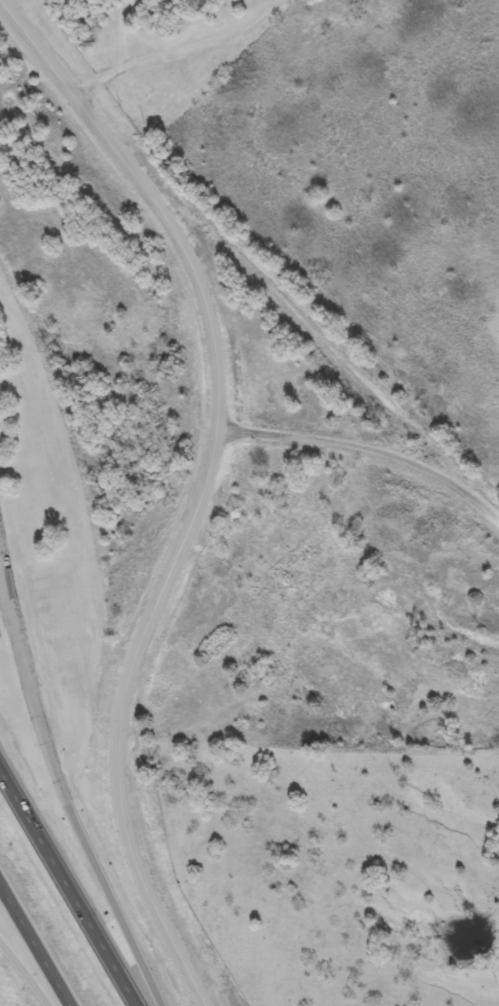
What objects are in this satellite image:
road: (172, 47)
road: (369, 450)
road: (202, 487)
parking lot: (6, 564)
road: (3, 580)
road: (70, 806)
road: (69, 885)
road: (36, 943)
road: (27, 970)

